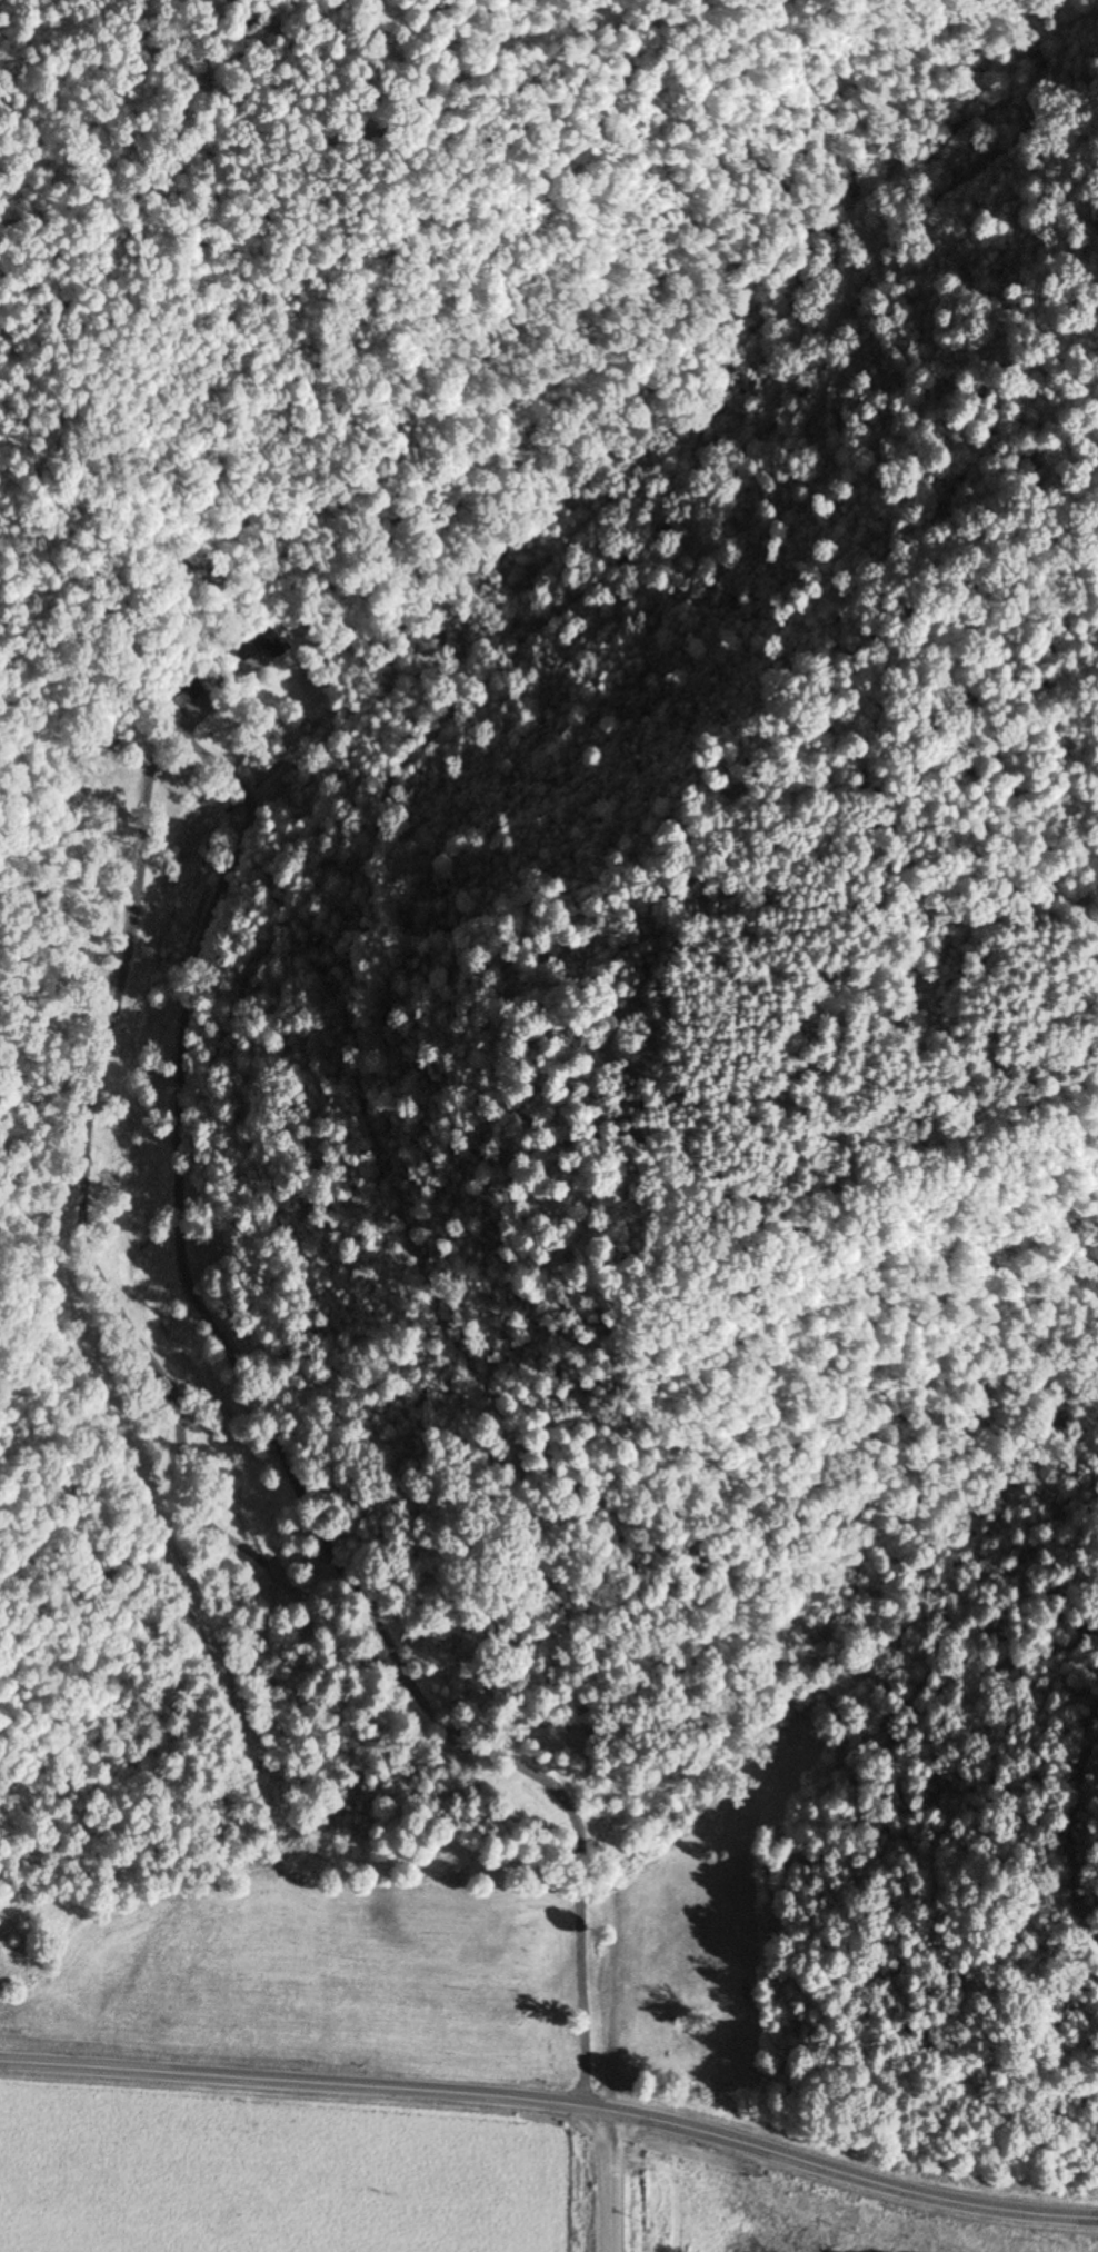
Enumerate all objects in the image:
building: (189, 689)
road: (287, 1481)
road: (555, 2103)
road: (610, 2182)

